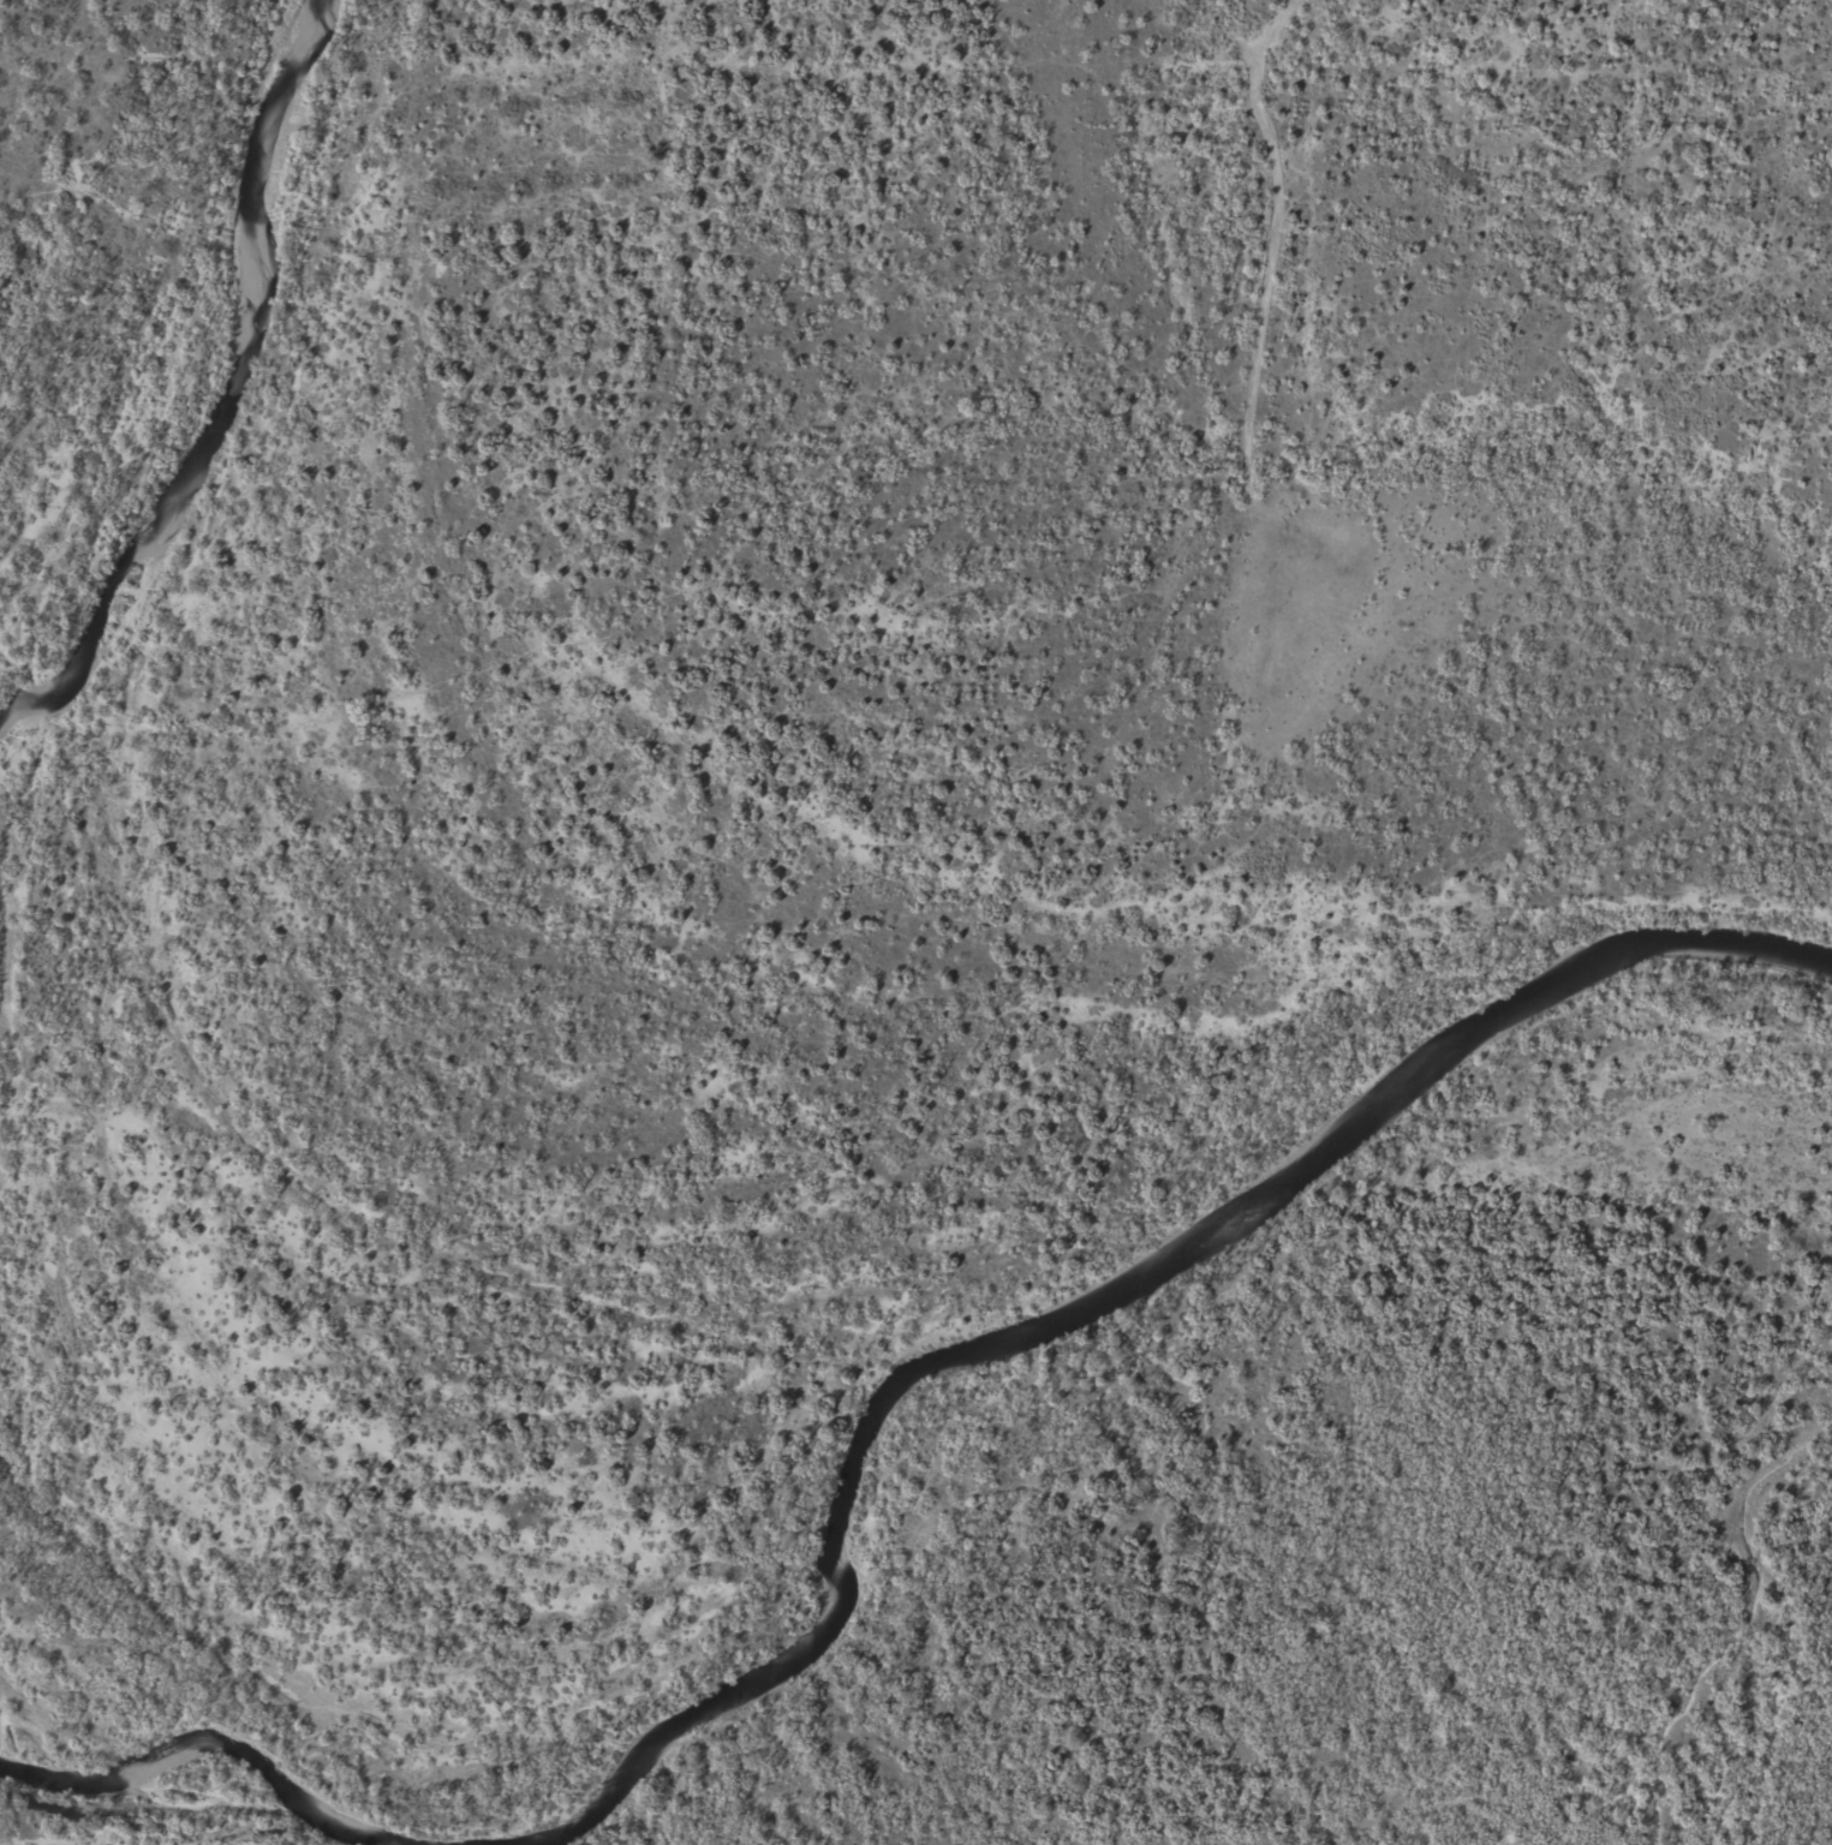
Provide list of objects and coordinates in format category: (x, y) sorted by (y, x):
river: (228, 400)
river: (1099, 1302)
river: (219, 1747)

